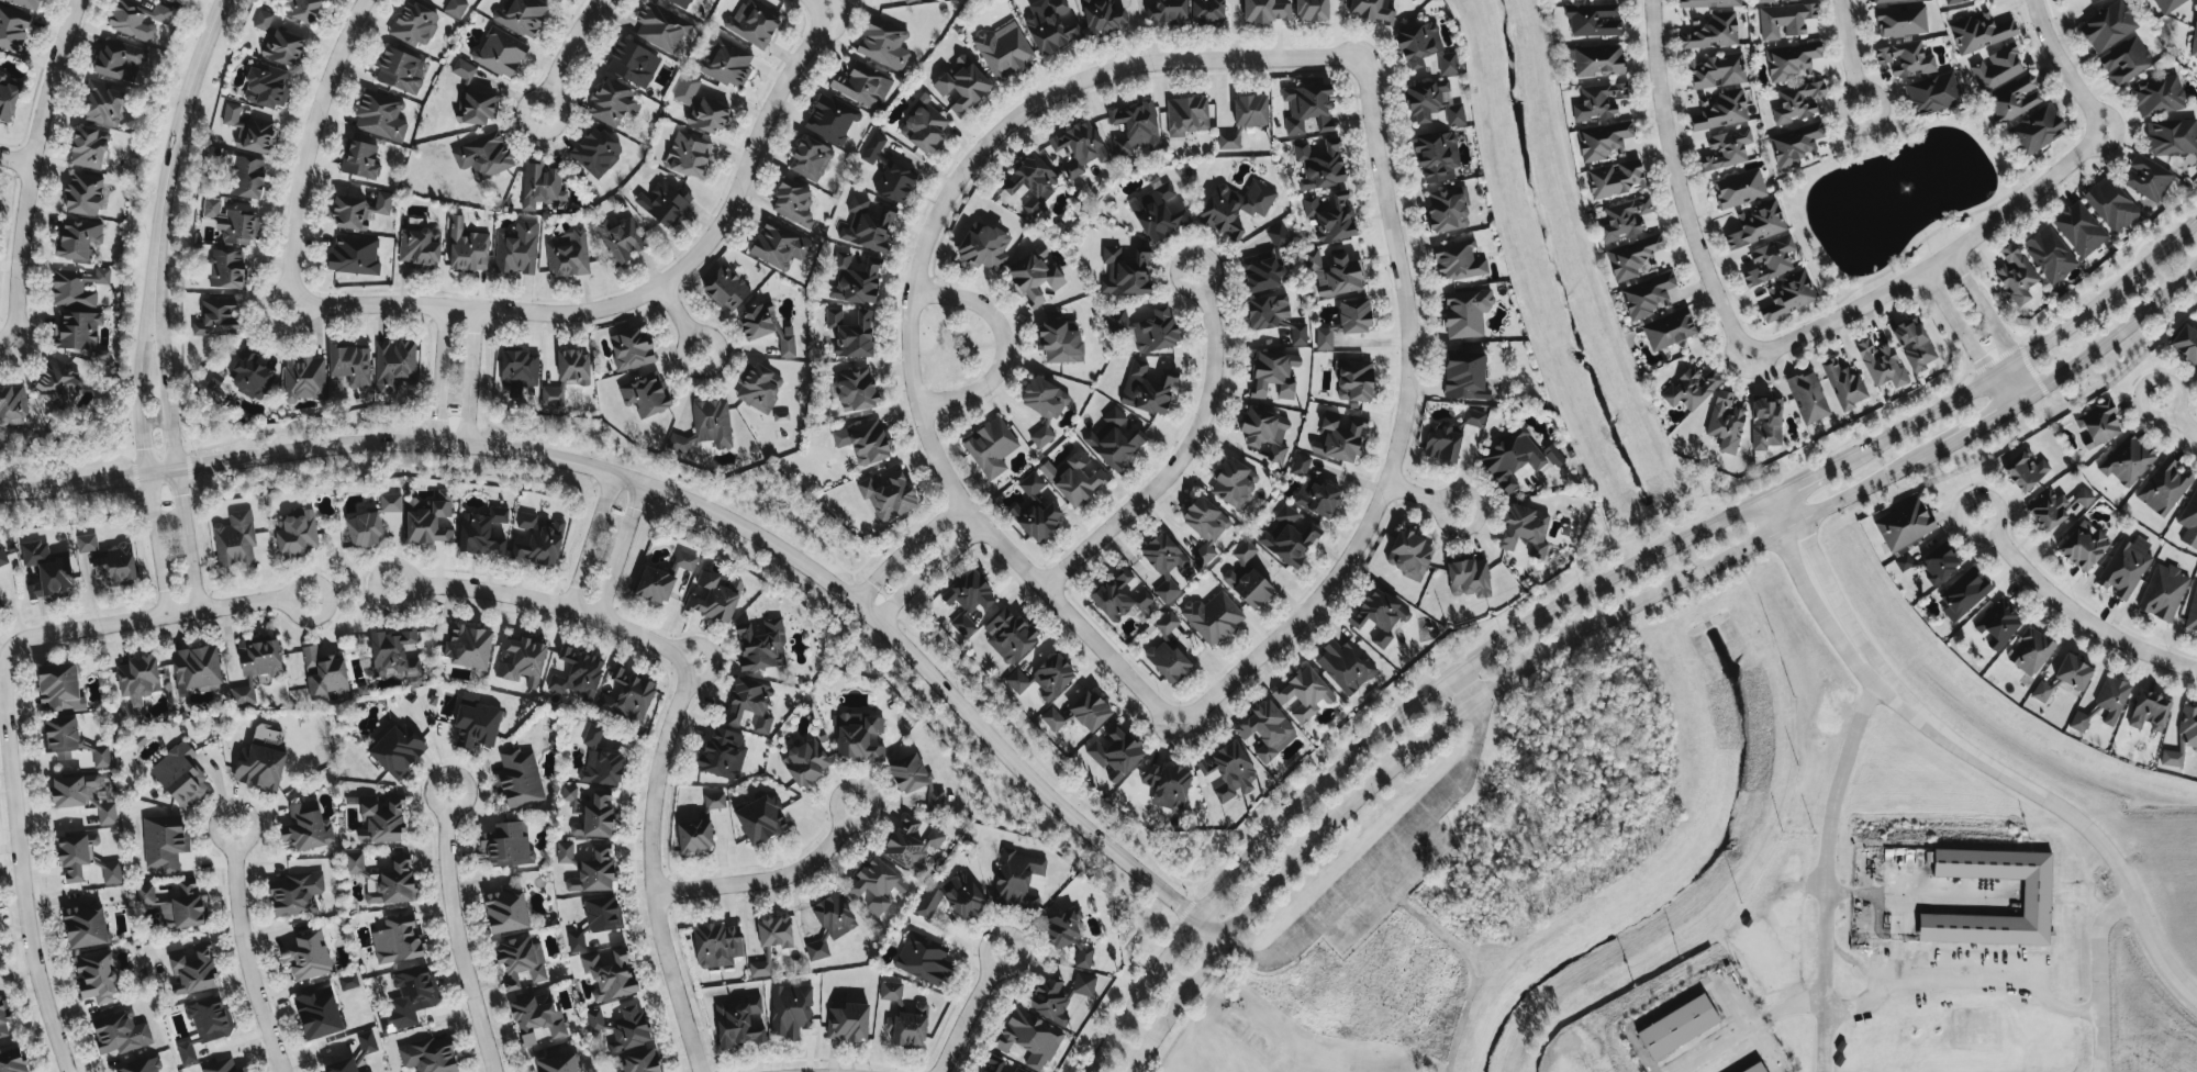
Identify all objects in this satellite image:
building: (554, 0)
building: (861, 0)
building: (1888, 0)
building: (908, 1)
building: (1773, 1)
building: (1953, 2)
building: (24, 3)
building: (680, 3)
building: (1708, 3)
building: (2166, 4)
road: (819, 7)
building: (455, 8)
building: (301, 10)
building: (1311, 10)
building: (1372, 10)
building: (1166, 11)
building: (1206, 11)
building: (1265, 11)
building: (521, 16)
building: (1102, 16)
building: (136, 20)
building: (263, 20)
building: (1593, 20)
building: (1784, 20)
building: (1900, 21)
building: (754, 22)
building: (414, 24)
building: (1050, 25)
building: (2108, 26)
building: (661, 27)
building: (13, 29)
building: (1711, 32)
building: (1979, 32)
building: (2195, 38)
building: (883, 44)
building: (282, 47)
building: (1004, 49)
building: (1424, 49)
building: (500, 53)
road: (1849, 53)
road: (565, 54)
building: (1905, 59)
building: (120, 60)
building: (1598, 60)
building: (1792, 62)
building: (2126, 62)
building: (632, 63)
building: (1997, 67)
road: (2063, 67)
building: (400, 70)
building: (462, 70)
building: (1716, 71)
building: (861, 85)
building: (962, 85)
building: (266, 86)
building: (685, 90)
building: (1931, 94)
building: (2157, 97)
building: (7, 99)
building: (2014, 99)
building: (1598, 101)
building: (1797, 102)
building: (612, 103)
building: (1432, 103)
building: (103, 104)
building: (478, 108)
building: (1307, 109)
building: (1720, 110)
building: (1250, 111)
building: (707, 115)
building: (1186, 115)
building: (380, 116)
building: (830, 119)
road: (179, 125)
building: (924, 126)
building: (1135, 129)
building: (248, 130)
building: (2036, 131)
building: (2171, 137)
building: (1228, 139)
building: (1603, 141)
road: (308, 142)
building: (1794, 145)
building: (89, 147)
building: (872, 148)
building: (1080, 148)
building: (1726, 149)
building: (595, 152)
building: (688, 155)
building: (483, 156)
building: (1436, 156)
road: (15, 159)
building: (810, 159)
building: (360, 160)
building: (1319, 165)
road: (29, 170)
building: (246, 177)
building: (2146, 178)
building: (1615, 179)
building: (894, 182)
building: (1030, 182)
road: (1677, 183)
building: (540, 185)
building: (1739, 189)
building: (83, 194)
fountain: (1907, 196)
building: (663, 202)
building: (793, 203)
building: (2110, 204)
building: (1234, 208)
building: (1446, 210)
building: (358, 211)
building: (1158, 213)
building: (1330, 217)
building: (1625, 220)
building: (867, 225)
building: (1758, 225)
building: (2078, 228)
building: (77, 238)
building: (618, 239)
building: (419, 246)
building: (779, 246)
building: (982, 246)
building: (467, 248)
building: (516, 249)
building: (567, 254)
building: (2049, 254)
building: (354, 255)
building: (1632, 257)
building: (1459, 260)
building: (1769, 261)
building: (1265, 264)
road: (1934, 264)
building: (226, 269)
building: (1126, 271)
building: (1334, 273)
building: (2015, 273)
road: (915, 276)
building: (1034, 277)
building: (854, 280)
building: (77, 287)
building: (725, 288)
building: (1647, 295)
road: (637, 297)
building: (1789, 297)
building: (1465, 313)
building: (216, 316)
building: (1274, 316)
road: (680, 320)
building: (1346, 322)
road: (269, 323)
road: (1993, 323)
building: (767, 327)
building: (1145, 328)
building: (1669, 330)
building: (77, 331)
building: (850, 334)
road: (2115, 336)
road: (1967, 339)
building: (1060, 342)
road: (1000, 343)
building: (1914, 344)
building: (2185, 344)
road: (5, 347)
building: (631, 349)
road: (161, 362)
building: (349, 364)
road: (137, 365)
building: (393, 365)
building: (1881, 365)
building: (572, 366)
building: (518, 370)
building: (250, 373)
building: (1274, 373)
road: (439, 376)
building: (1463, 376)
road: (469, 377)
building: (303, 379)
building: (1353, 380)
building: (58, 384)
building: (1844, 384)
road: (2145, 384)
building: (759, 388)
building: (1691, 388)
building: (1147, 389)
building: (854, 390)
building: (645, 394)
building: (551, 397)
building: (1808, 398)
building: (12, 405)
building: (1044, 406)
building: (1473, 417)
building: (1725, 422)
building: (1766, 424)
road: (1979, 424)
building: (2098, 424)
building: (706, 426)
road: (2189, 427)
road: (1401, 431)
building: (1264, 432)
building: (1338, 437)
building: (1115, 439)
building: (863, 442)
building: (1440, 443)
building: (990, 448)
building: (1552, 456)
road: (1181, 457)
building: (1512, 459)
building: (2127, 460)
building: (1300, 465)
building: (2025, 470)
building: (1073, 478)
building: (1234, 483)
building: (2164, 488)
building: (889, 494)
road: (1421, 496)
building: (2083, 498)
building: (1319, 500)
road: (684, 501)
building: (390, 503)
building: (2048, 510)
building: (1035, 511)
building: (430, 521)
building: (2189, 521)
building: (1904, 525)
building: (1204, 526)
building: (365, 529)
building: (1525, 529)
building: (481, 532)
building: (295, 534)
building: (1286, 537)
road: (188, 539)
road: (590, 539)
building: (234, 540)
building: (538, 541)
road: (1676, 541)
building: (86, 544)
road: (154, 545)
building: (2083, 546)
road: (620, 550)
road: (903, 550)
building: (1244, 551)
building: (1409, 555)
building: (2, 557)
building: (1939, 562)
building: (1163, 563)
building: (1903, 563)
building: (116, 565)
building: (2124, 568)
building: (46, 571)
road: (925, 571)
building: (1469, 578)
building: (662, 579)
road: (1827, 583)
building: (1248, 588)
building: (2163, 592)
building: (1964, 593)
road: (1807, 594)
building: (715, 596)
building: (1120, 599)
building: (968, 600)
road: (542, 603)
road: (2073, 611)
building: (2193, 612)
building: (1379, 616)
road: (149, 617)
building: (1212, 617)
building: (1166, 624)
building: (1997, 624)
building: (1008, 636)
building: (760, 646)
building: (468, 647)
road: (1549, 652)
building: (2031, 652)
building: (393, 654)
road: (710, 655)
building: (259, 658)
building: (1168, 661)
building: (1346, 666)
building: (196, 669)
building: (2073, 672)
building: (323, 673)
building: (577, 673)
building: (1042, 678)
building: (137, 679)
building: (58, 685)
building: (2041, 692)
building: (1304, 693)
building: (242, 695)
building: (627, 696)
building: (749, 704)
building: (2104, 704)
building: (1089, 711)
building: (2149, 711)
building: (1052, 719)
building: (476, 723)
building: (1267, 730)
building: (592, 736)
building: (859, 737)
building: (2183, 738)
building: (70, 740)
building: (397, 749)
building: (1115, 752)
building: (723, 753)
building: (806, 762)
building: (259, 768)
building: (602, 768)
building: (1228, 771)
building: (180, 775)
building: (518, 780)
building: (915, 780)
building: (1166, 785)
building: (74, 790)
building: (571, 799)
building: (714, 801)
road: (2065, 811)
building: (107, 814)
building: (595, 816)
building: (761, 819)
building: (306, 827)
building: (694, 836)
building: (164, 842)
building: (508, 845)
building: (911, 845)
building: (566, 852)
building: (75, 856)
road: (1374, 857)
building: (354, 863)
road: (650, 867)
road: (1822, 869)
road: (19, 870)
building: (594, 871)
parking lot: (1376, 871)
building: (111, 872)
road: (768, 880)
building: (1016, 880)
building: (392, 884)
building: (877, 885)
building: (295, 893)
building: (145, 895)
building: (952, 897)
building: (2037, 897)
building: (181, 907)
building: (505, 909)
building: (602, 913)
building: (834, 916)
building: (85, 924)
building: (774, 931)
road: (455, 935)
building: (1068, 936)
building: (398, 939)
building: (576, 940)
building: (716, 946)
building: (816, 950)
road: (244, 951)
building: (308, 957)
building: (923, 959)
building: (520, 961)
building: (760, 967)
building: (192, 971)
building: (610, 974)
building: (96, 976)
road: (2099, 978)
road: (1887, 985)
building: (415, 989)
road: (1140, 994)
building: (1058, 995)
road: (1178, 1006)
building: (790, 1010)
road: (971, 1012)
building: (317, 1014)
building: (3, 1017)
building: (536, 1018)
building: (903, 1018)
building: (387, 1020)
building: (739, 1023)
building: (847, 1023)
building: (204, 1026)
building: (622, 1027)
building: (1676, 1027)
building: (120, 1034)
building: (1029, 1038)
building: (366, 1042)
park: (1265, 1042)
building: (428, 1056)
building: (12, 1062)
building: (639, 1062)
building: (557, 1064)
building: (994, 1064)
building: (341, 1065)
building: (141, 1067)
building: (223, 1067)
building: (1754, 1068)
building: (1018, 1070)
building: (368, 1071)

